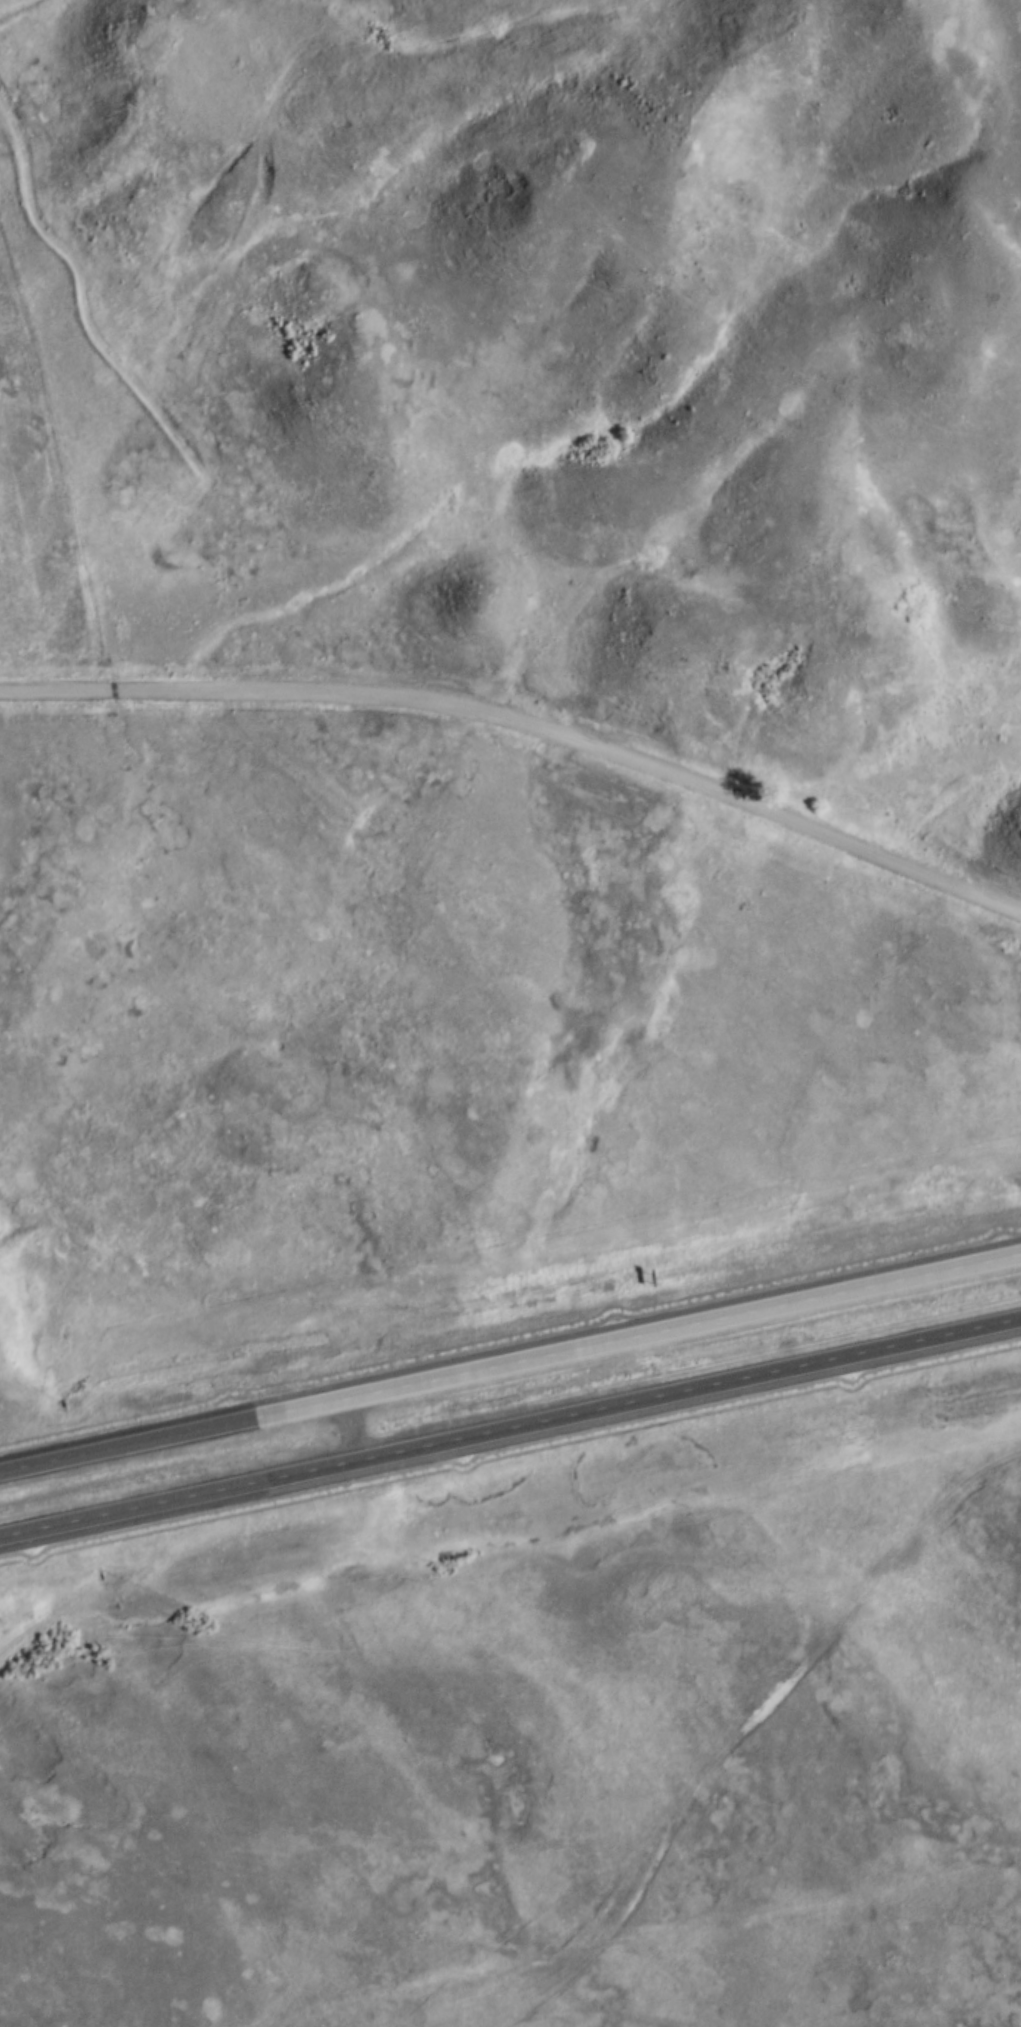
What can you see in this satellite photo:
road: (526, 726)
road: (510, 1371)
road: (510, 1434)
road: (750, 1727)

